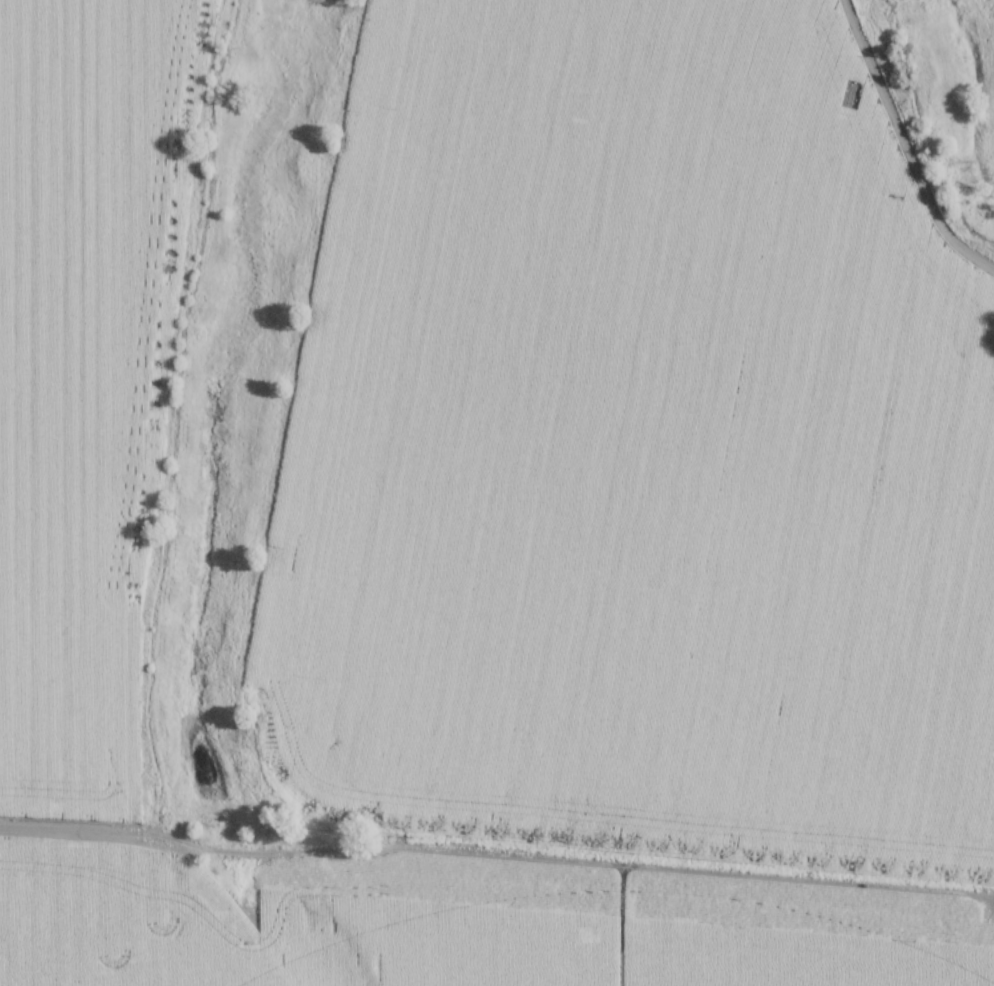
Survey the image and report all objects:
crop: (519, 512)

